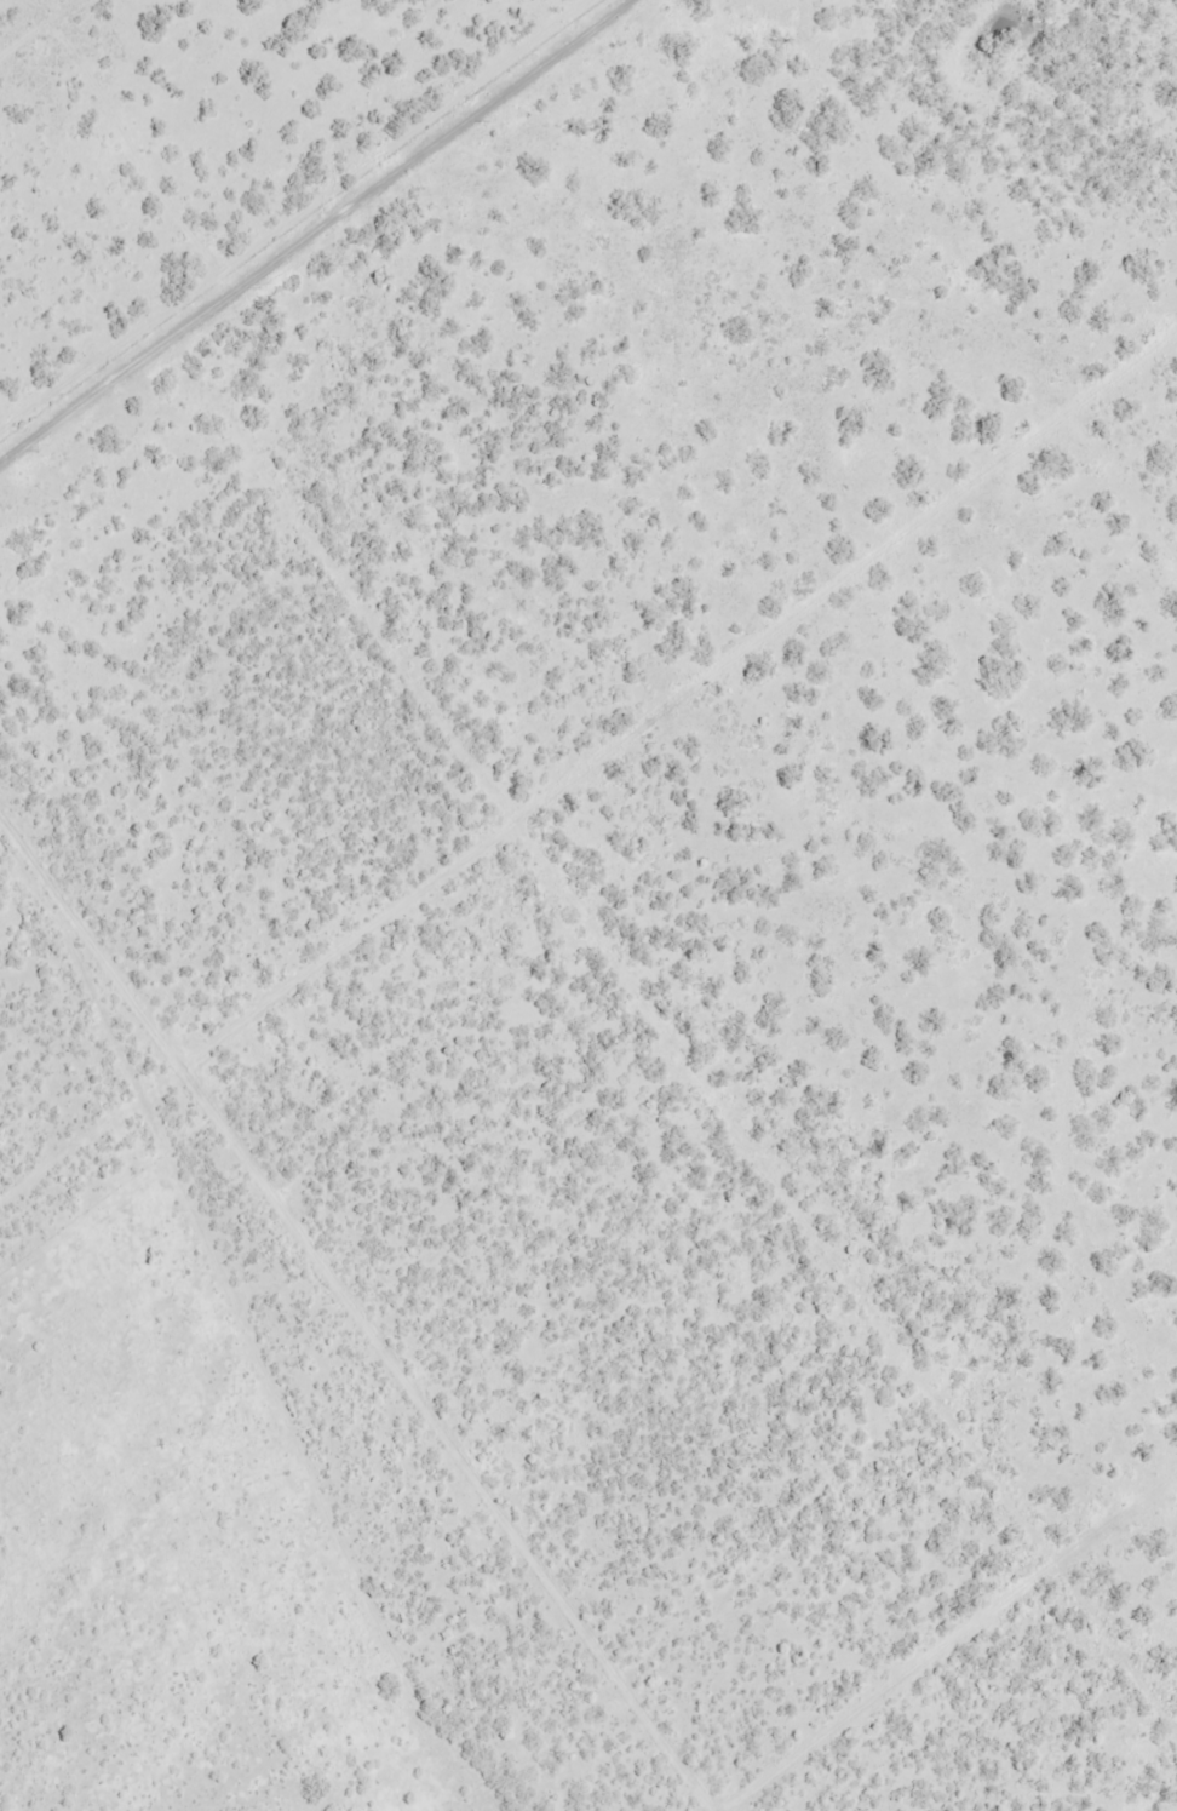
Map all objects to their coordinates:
road: (346, 258)

